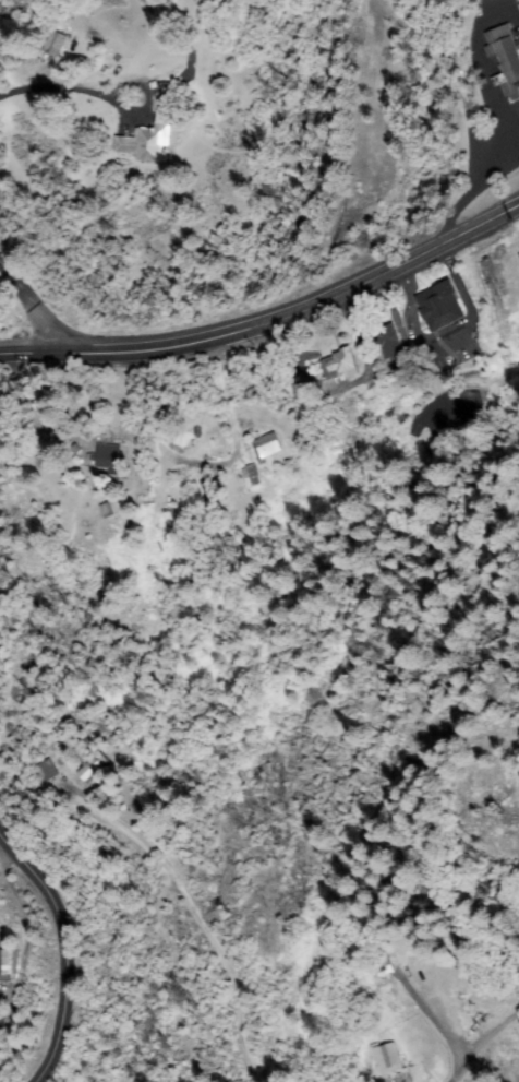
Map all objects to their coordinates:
building: (56, 44)
building: (506, 58)
building: (148, 140)
building: (518, 251)
road: (33, 307)
building: (442, 307)
road: (270, 321)
building: (390, 342)
building: (339, 364)
building: (305, 395)
building: (266, 447)
building: (109, 459)
building: (254, 475)
building: (213, 490)
road: (508, 507)
building: (94, 766)
building: (47, 771)
road: (57, 960)
building: (9, 964)
building: (383, 964)
building: (388, 1058)

